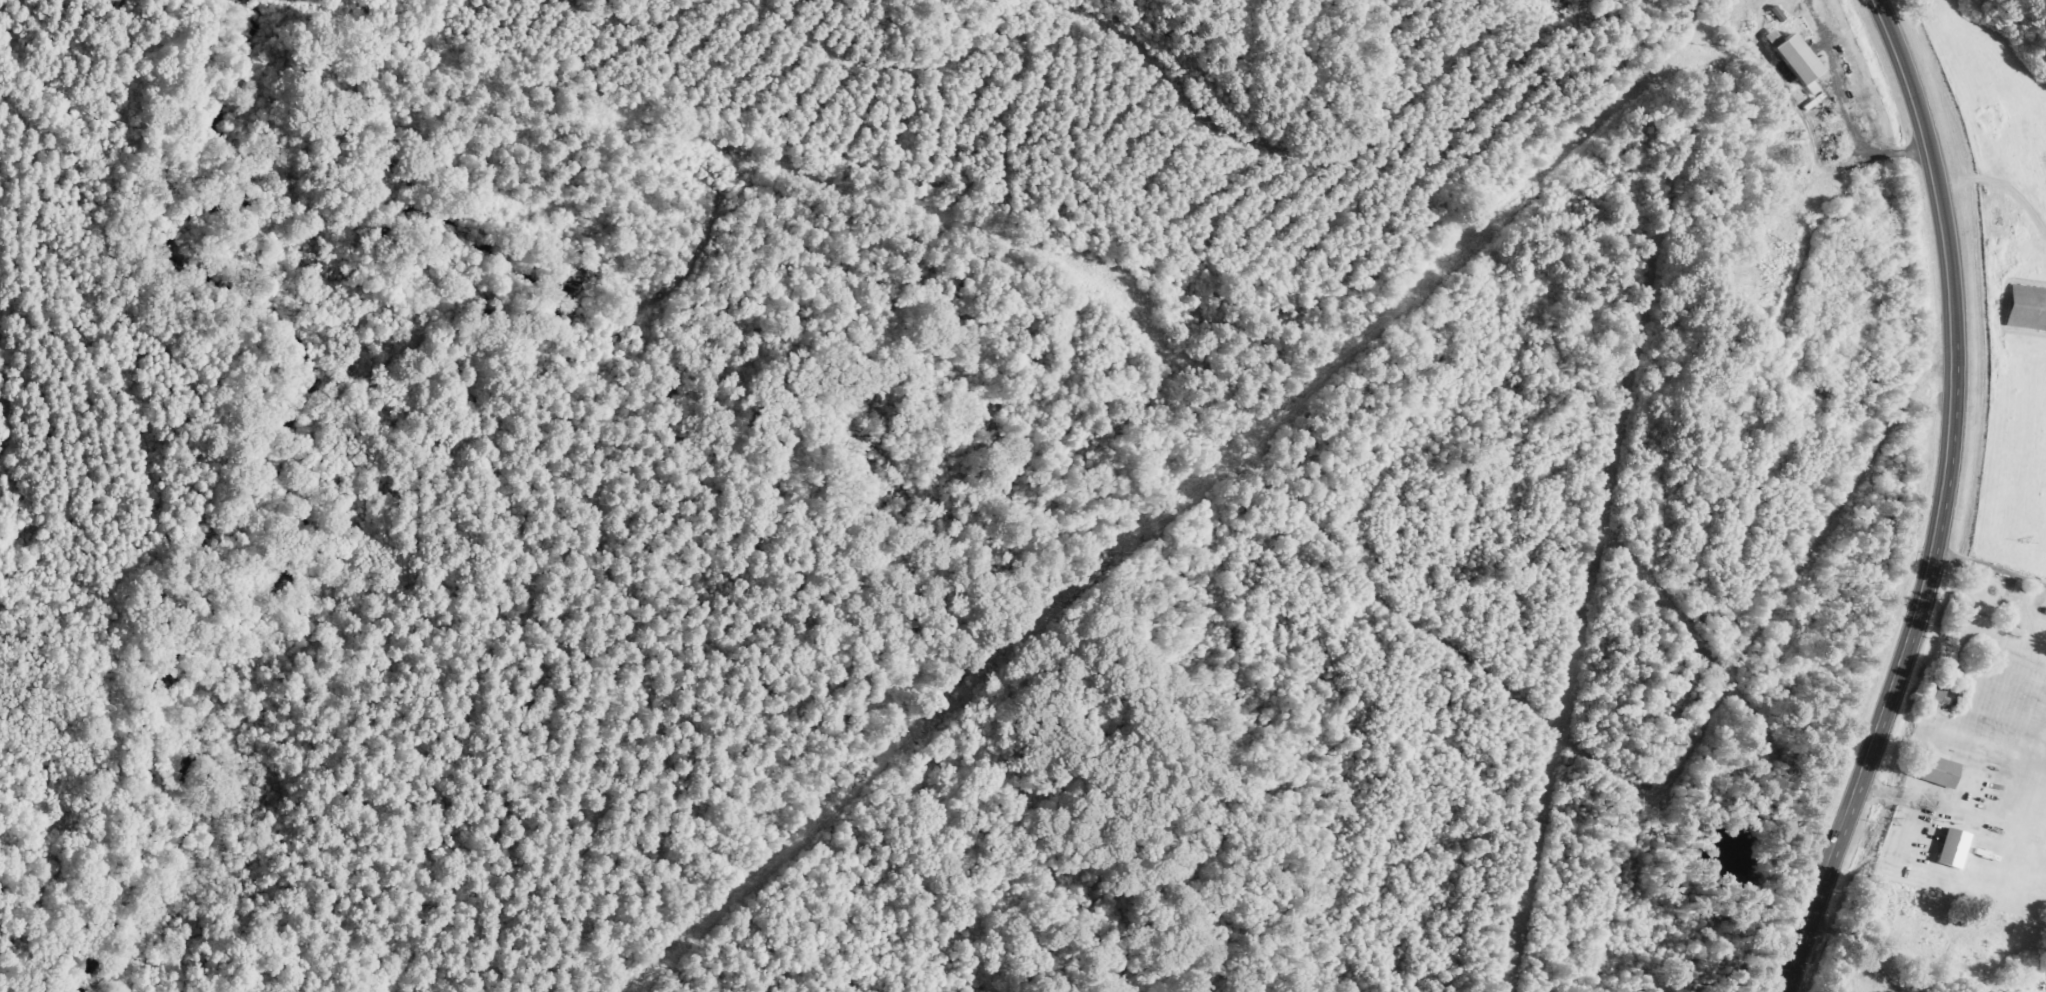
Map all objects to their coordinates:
building: (1798, 60)
park: (1751, 268)
building: (2028, 308)
road: (1944, 502)
road: (1847, 504)
road: (1989, 590)
building: (1945, 696)
building: (1938, 770)
building: (1955, 848)

